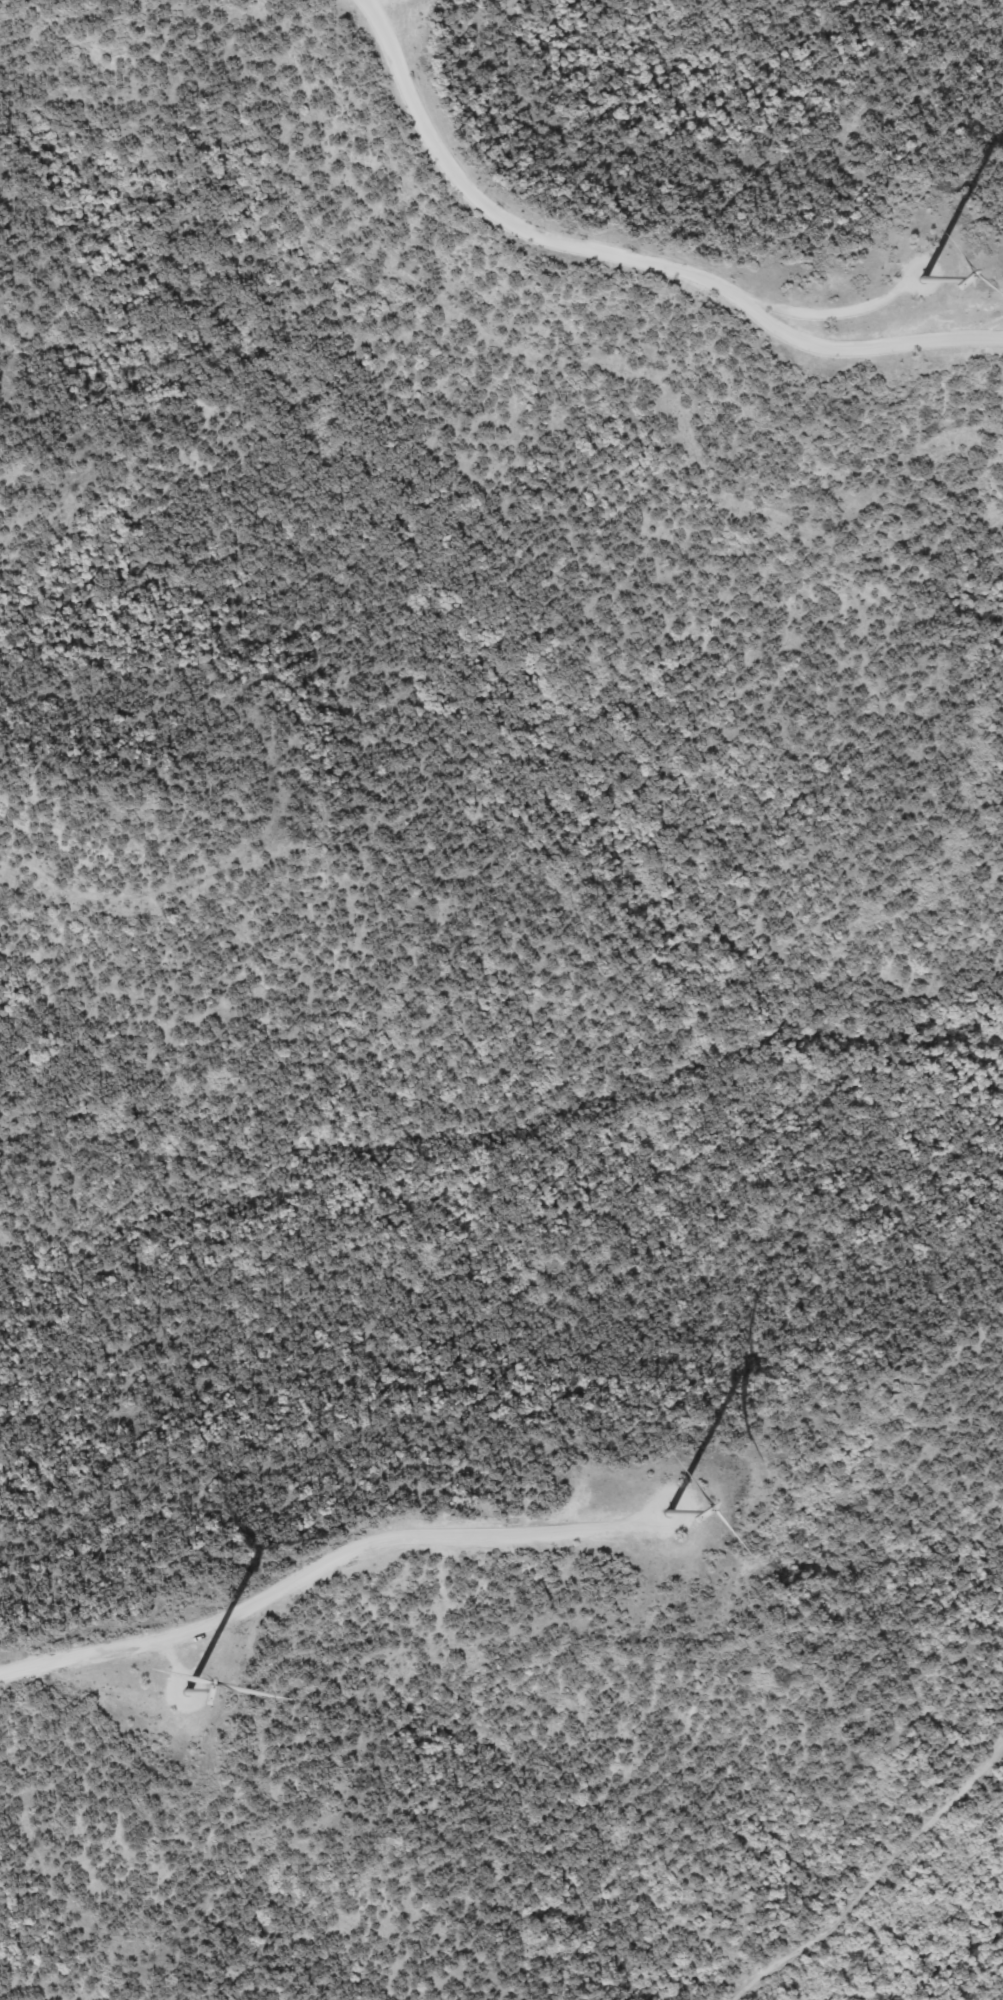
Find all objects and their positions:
road: (636, 262)
wind turbine: (926, 279)
wind turbine: (663, 1515)
road: (335, 1562)
wind turbine: (185, 1696)
road: (876, 1881)

